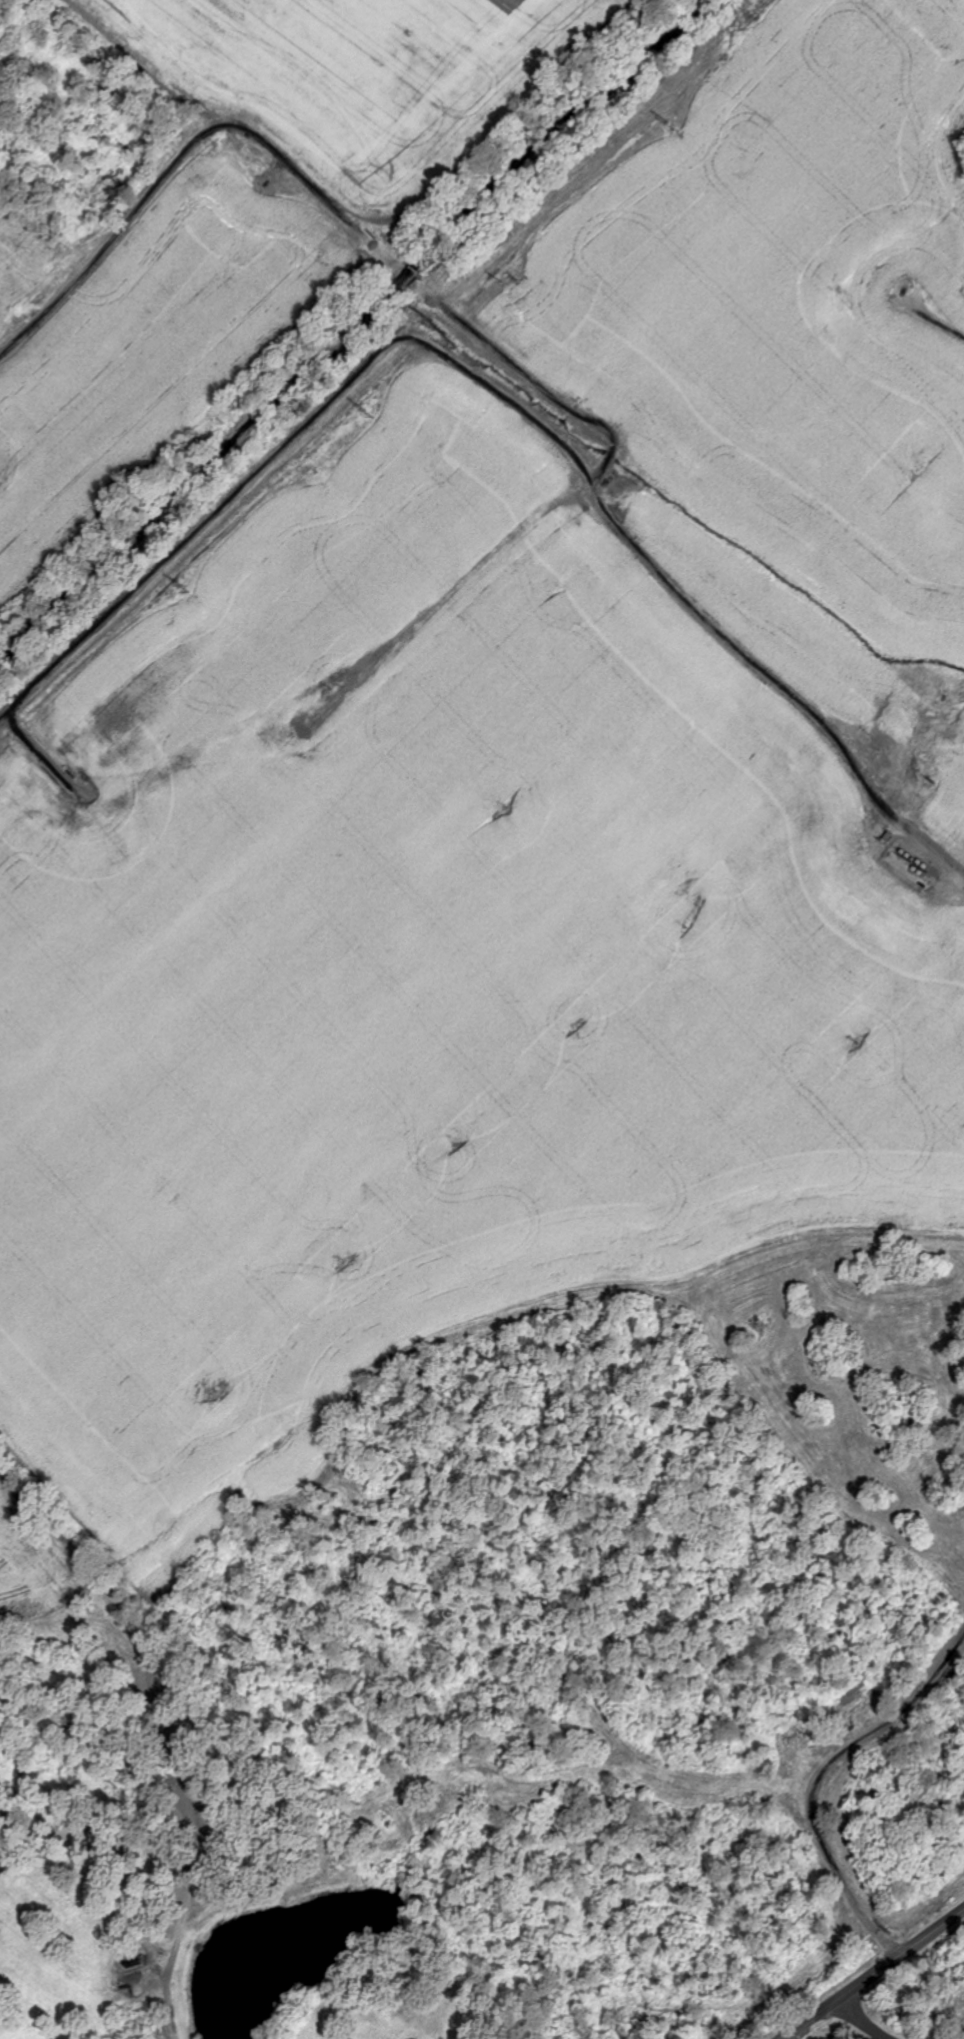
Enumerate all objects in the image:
road: (875, 1976)
road: (858, 2023)

